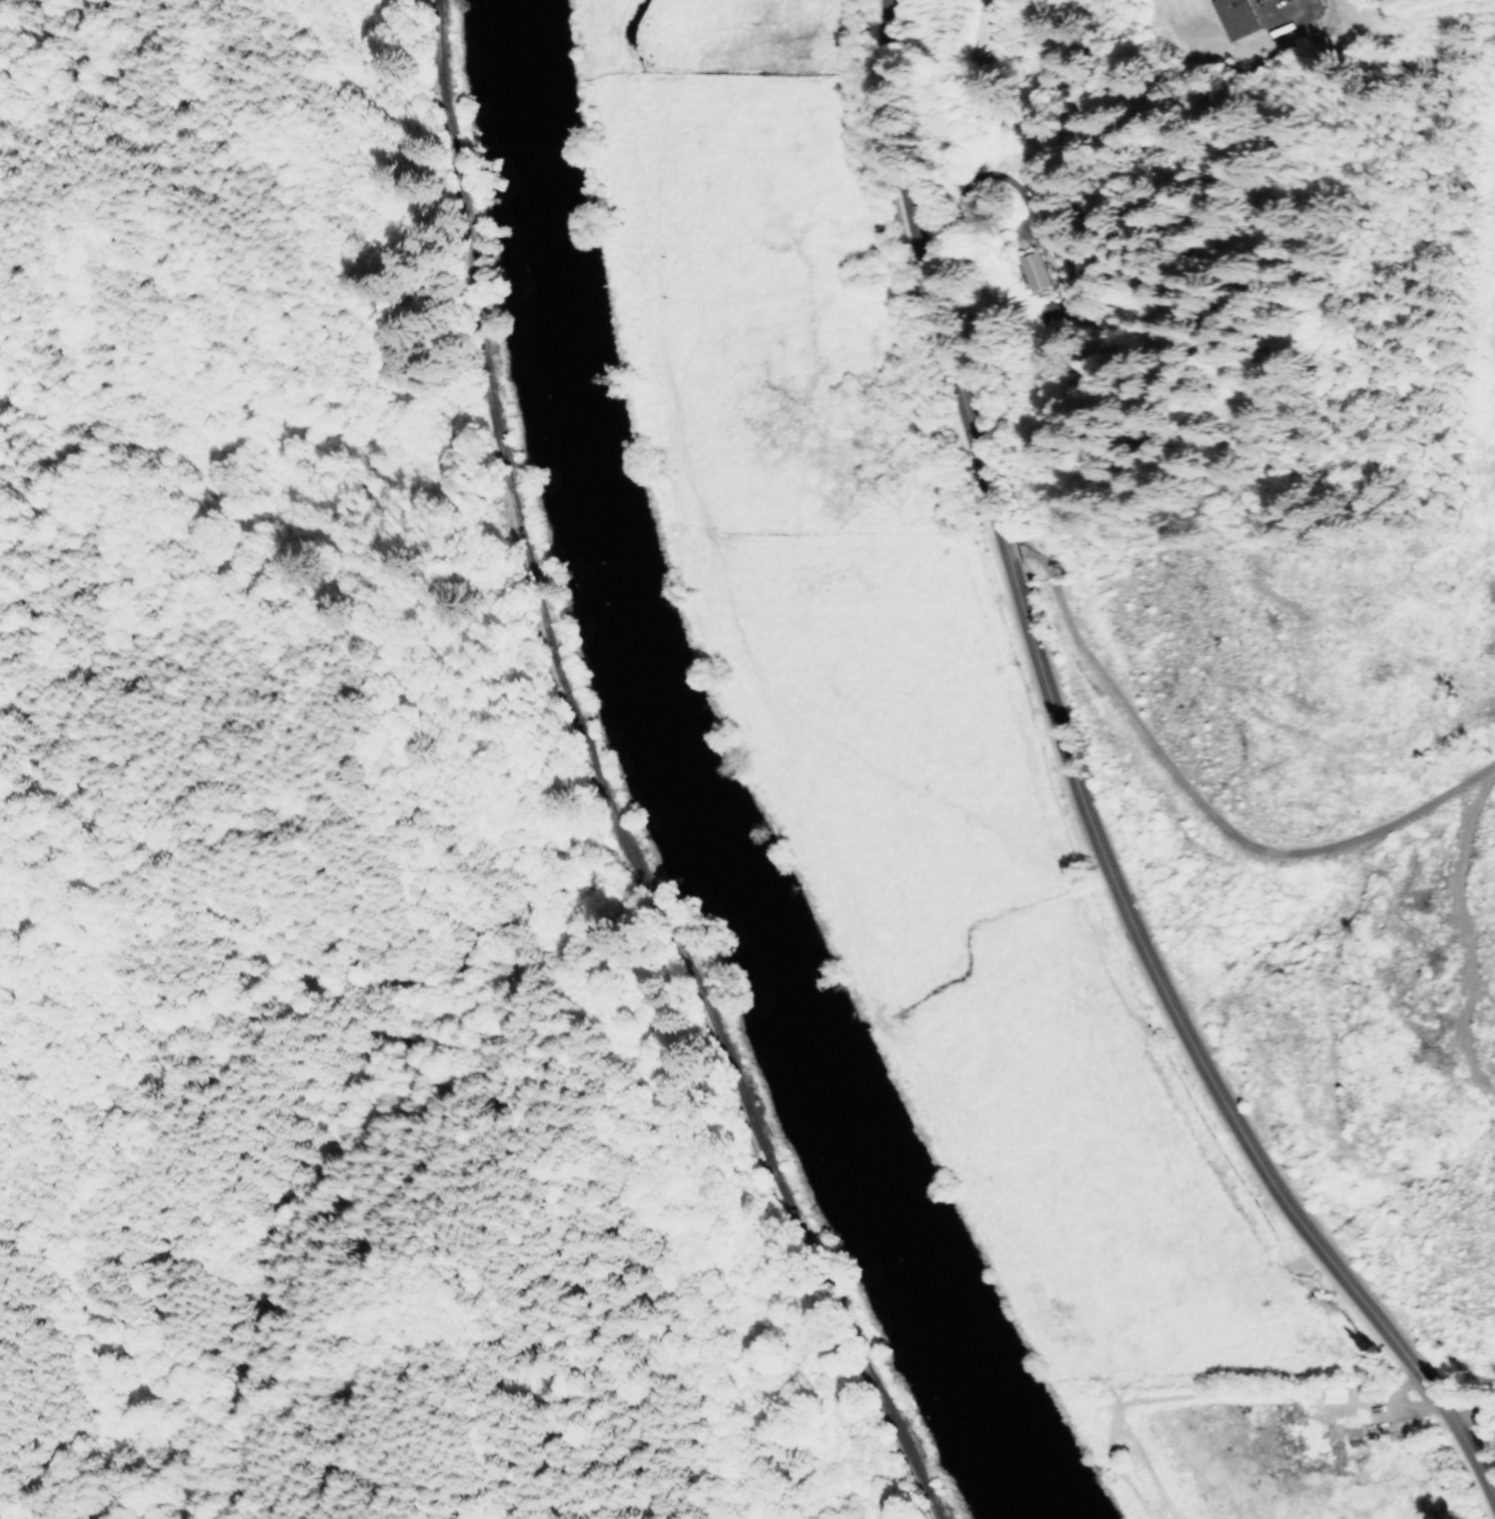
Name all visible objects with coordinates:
building: (1237, 17)
building: (1033, 270)
road: (1075, 281)
road: (1089, 773)
railway: (552, 784)
river: (692, 792)
road: (1389, 1025)

